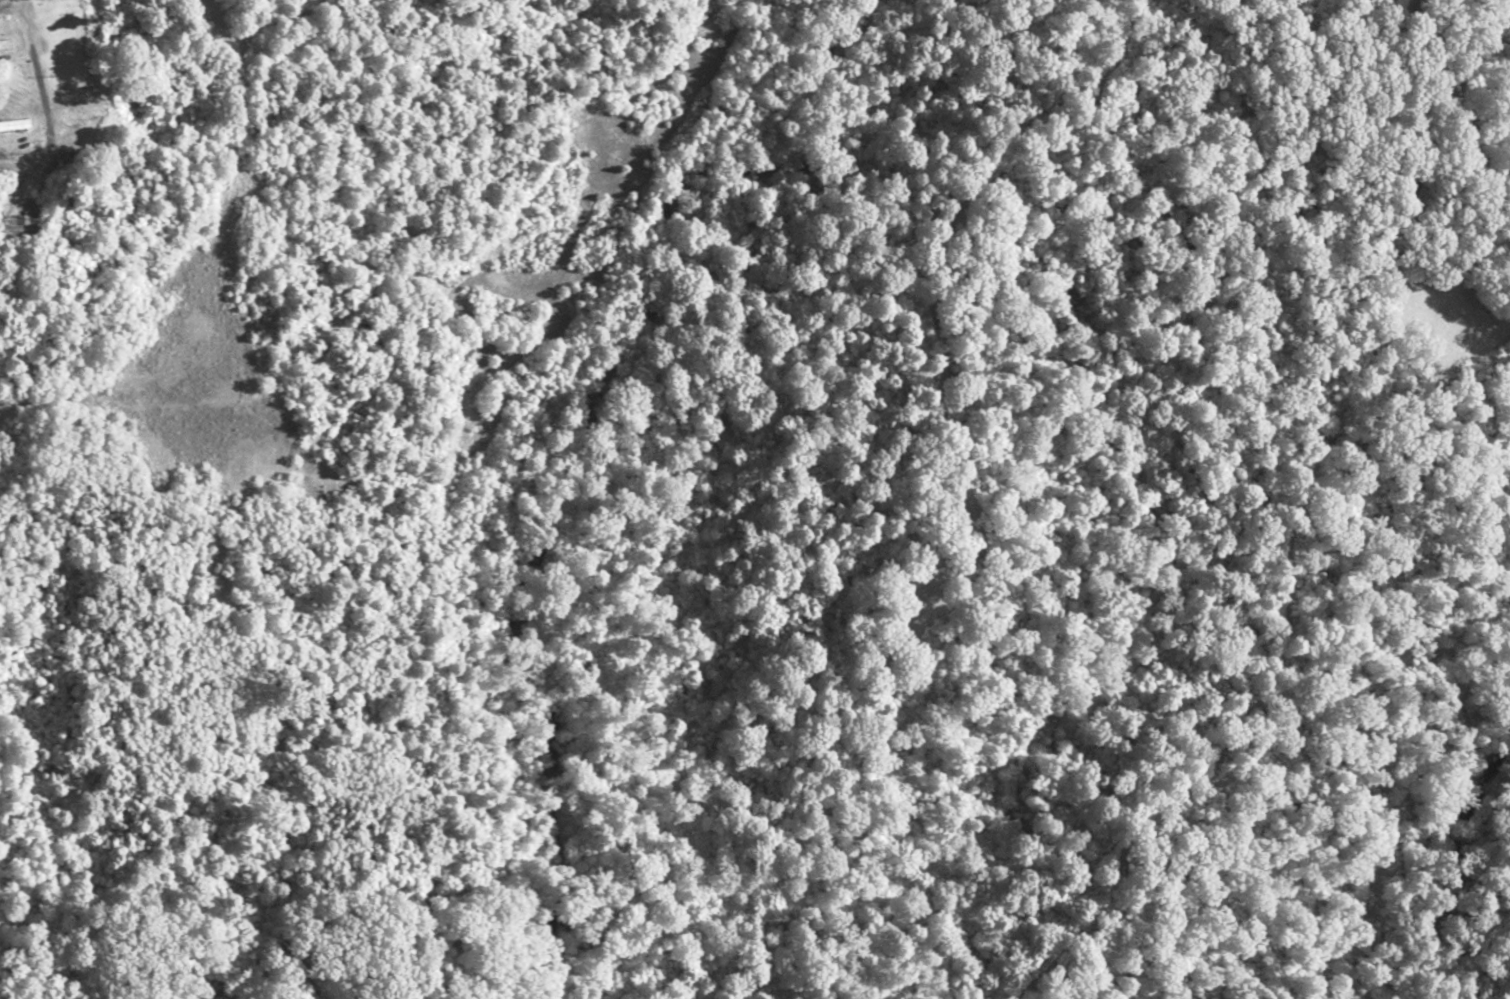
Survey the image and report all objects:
building: (3, 47)
road: (44, 92)
building: (82, 115)
building: (15, 123)

